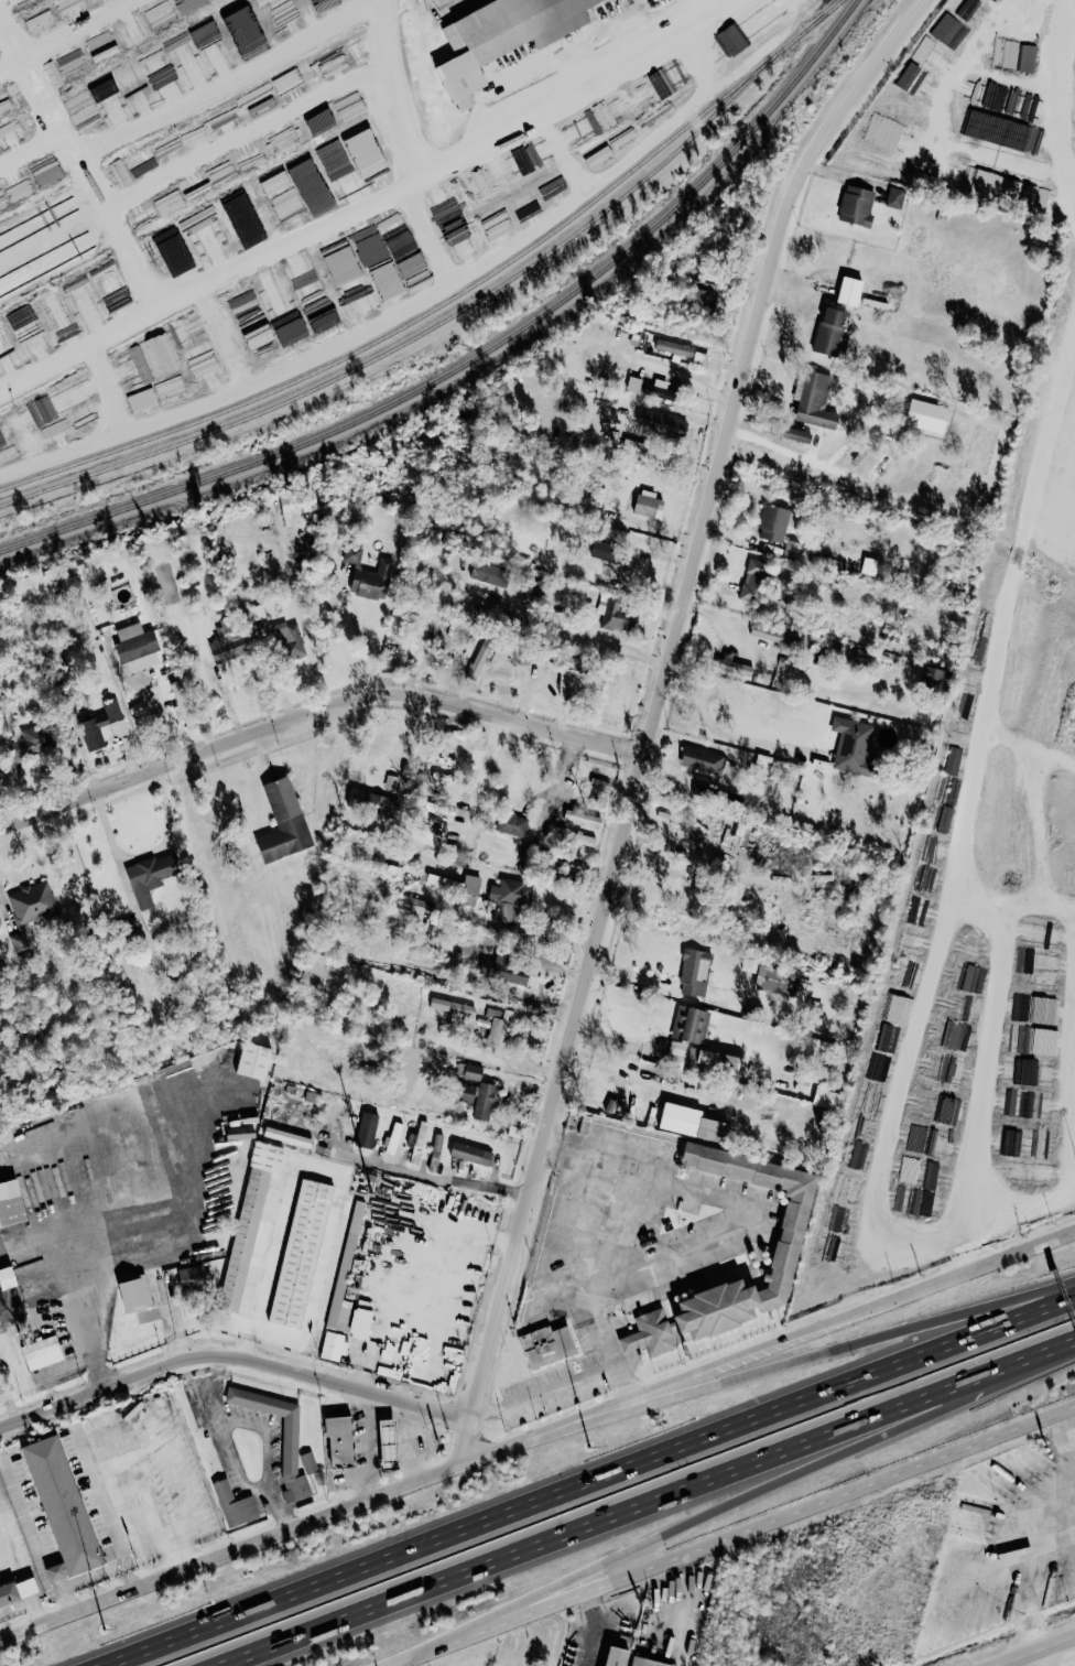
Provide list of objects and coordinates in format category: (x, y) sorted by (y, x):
building: (768, 14)
building: (40, 22)
road: (410, 23)
road: (100, 29)
building: (948, 30)
building: (140, 32)
building: (249, 33)
building: (503, 37)
building: (732, 40)
building: (1028, 58)
road: (20, 69)
building: (914, 79)
road: (1056, 88)
building: (135, 89)
road: (557, 95)
road: (410, 111)
building: (878, 127)
building: (368, 155)
road: (78, 156)
building: (599, 156)
road: (205, 158)
building: (275, 184)
building: (19, 190)
building: (897, 197)
building: (239, 205)
building: (857, 206)
building: (204, 230)
road: (410, 231)
building: (344, 264)
road: (205, 274)
building: (853, 291)
building: (313, 294)
building: (706, 296)
building: (54, 309)
railway: (456, 312)
railway: (390, 328)
building: (832, 332)
road: (204, 344)
building: (675, 348)
railway: (480, 354)
building: (702, 359)
road: (102, 361)
building: (636, 383)
road: (684, 383)
building: (661, 390)
building: (142, 400)
building: (815, 400)
building: (55, 405)
building: (661, 424)
building: (797, 434)
building: (297, 505)
building: (650, 505)
building: (775, 523)
building: (1060, 540)
building: (605, 550)
building: (354, 552)
building: (79, 570)
building: (492, 574)
building: (376, 581)
building: (754, 582)
road: (1027, 589)
building: (620, 615)
building: (769, 632)
building: (285, 635)
building: (227, 641)
road: (363, 646)
building: (138, 648)
building: (481, 659)
building: (933, 679)
building: (572, 681)
road: (666, 689)
building: (182, 704)
road: (318, 713)
road: (161, 720)
building: (104, 727)
road: (723, 733)
building: (856, 747)
building: (704, 760)
building: (764, 761)
road: (482, 773)
building: (367, 801)
building: (584, 819)
building: (285, 822)
building: (513, 824)
building: (153, 876)
building: (473, 884)
building: (511, 899)
building: (31, 901)
building: (415, 904)
building: (506, 969)
building: (696, 972)
building: (778, 980)
building: (453, 1006)
building: (687, 1030)
building: (720, 1059)
building: (257, 1060)
road: (984, 1061)
road: (507, 1062)
building: (474, 1071)
road: (623, 1071)
building: (807, 1080)
building: (828, 1097)
building: (479, 1099)
building: (1021, 1103)
building: (694, 1122)
building: (368, 1129)
building: (286, 1135)
building: (394, 1137)
building: (471, 1153)
road: (436, 1177)
building: (12, 1202)
building: (358, 1210)
building: (250, 1223)
building: (303, 1253)
building: (789, 1253)
building: (9, 1277)
building: (194, 1278)
road: (80, 1279)
road: (621, 1281)
building: (137, 1295)
road: (166, 1297)
building: (339, 1308)
building: (363, 1320)
building: (652, 1333)
road: (857, 1340)
building: (335, 1345)
building: (550, 1345)
building: (43, 1352)
road: (231, 1352)
road: (216, 1374)
road: (563, 1385)
building: (292, 1434)
road: (269, 1435)
road: (475, 1436)
road: (1067, 1437)
road: (536, 1439)
building: (343, 1442)
road: (238, 1476)
road: (590, 1483)
road: (775, 1485)
building: (236, 1505)
road: (654, 1505)
building: (48, 1522)
road: (737, 1538)
road: (945, 1553)
road: (1040, 1652)
building: (618, 1656)
road: (1040, 1659)
road: (421, 1662)
building: (650, 1662)

